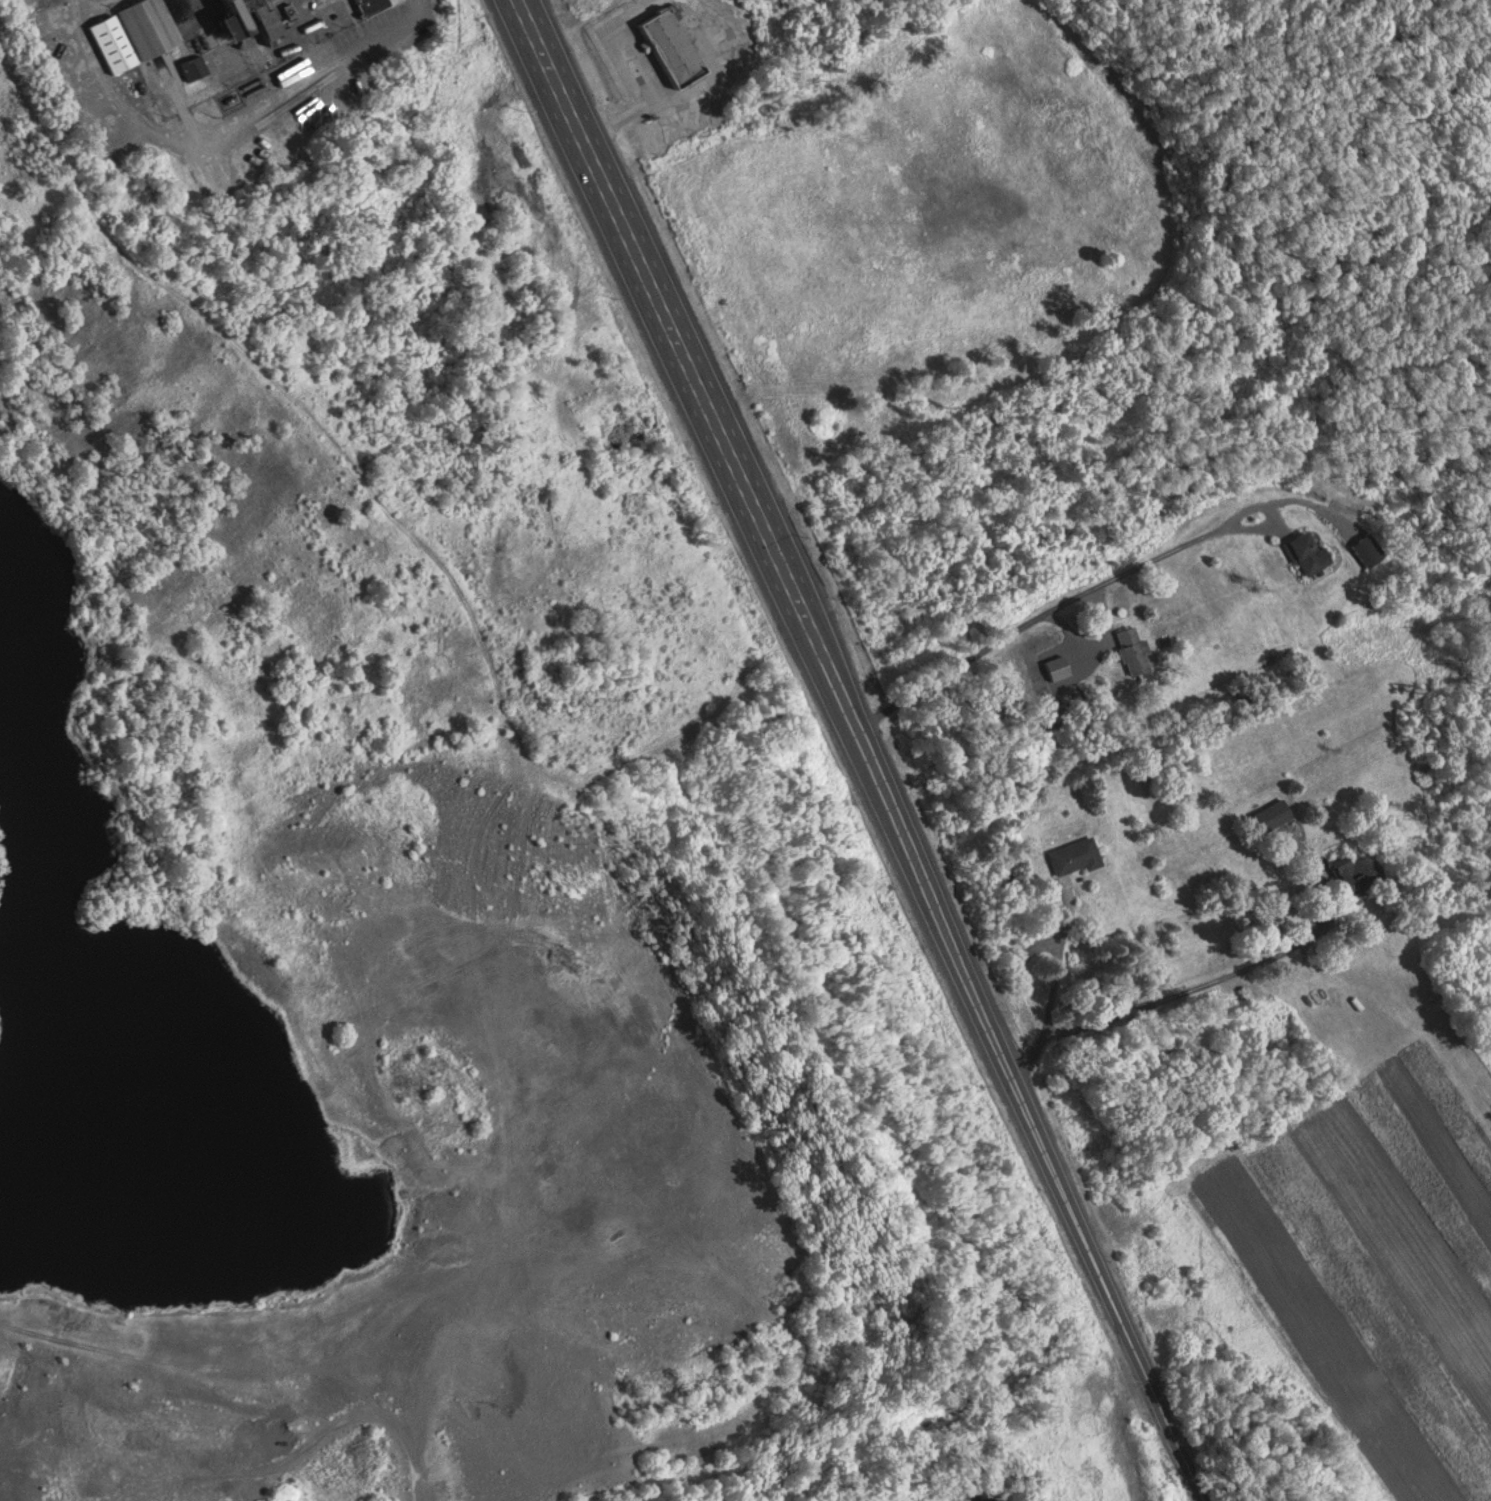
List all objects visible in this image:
road: (74, 1)
building: (365, 3)
road: (189, 6)
building: (254, 14)
building: (143, 23)
road: (413, 25)
road: (280, 33)
building: (107, 37)
building: (666, 37)
building: (190, 60)
crop: (670, 63)
road: (177, 92)
road: (204, 131)
road: (675, 367)
road: (385, 496)
road: (1315, 500)
road: (1273, 511)
building: (1367, 543)
building: (1304, 546)
road: (1029, 616)
road: (1094, 632)
building: (1126, 643)
crop: (1238, 754)
building: (1267, 809)
building: (1069, 848)
building: (1351, 866)
road: (1210, 982)
road: (1055, 992)
road: (1024, 1118)
crop: (1379, 1256)
road: (207, 1359)
road: (335, 1425)
building: (153, 1482)

